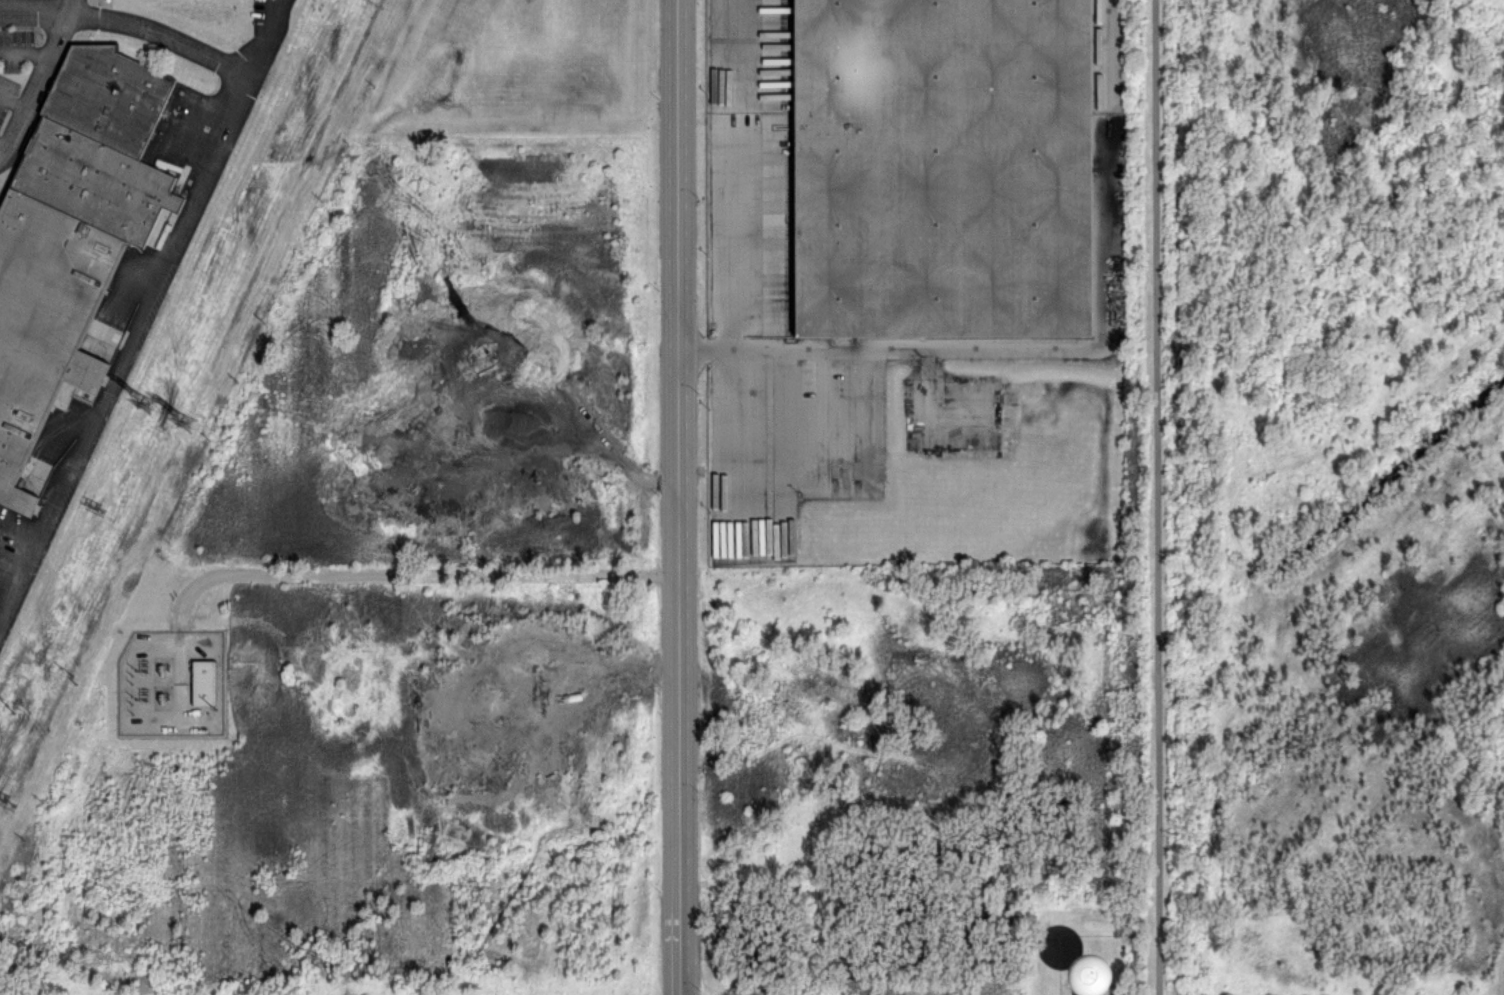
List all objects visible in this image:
road: (70, 7)
road: (41, 13)
road: (263, 36)
road: (168, 38)
road: (26, 50)
road: (35, 86)
road: (13, 100)
road: (4, 145)
building: (942, 173)
building: (66, 219)
road: (731, 275)
road: (1061, 346)
road: (124, 348)
building: (96, 371)
power tower: (140, 402)
power tower: (191, 421)
road: (680, 497)
road: (1160, 497)
power tower: (94, 510)
road: (421, 573)
power tower: (70, 675)
building: (203, 682)
power substation: (175, 688)
power tower: (6, 705)
power tower: (6, 804)
building: (1093, 975)
water tower: (1095, 975)

